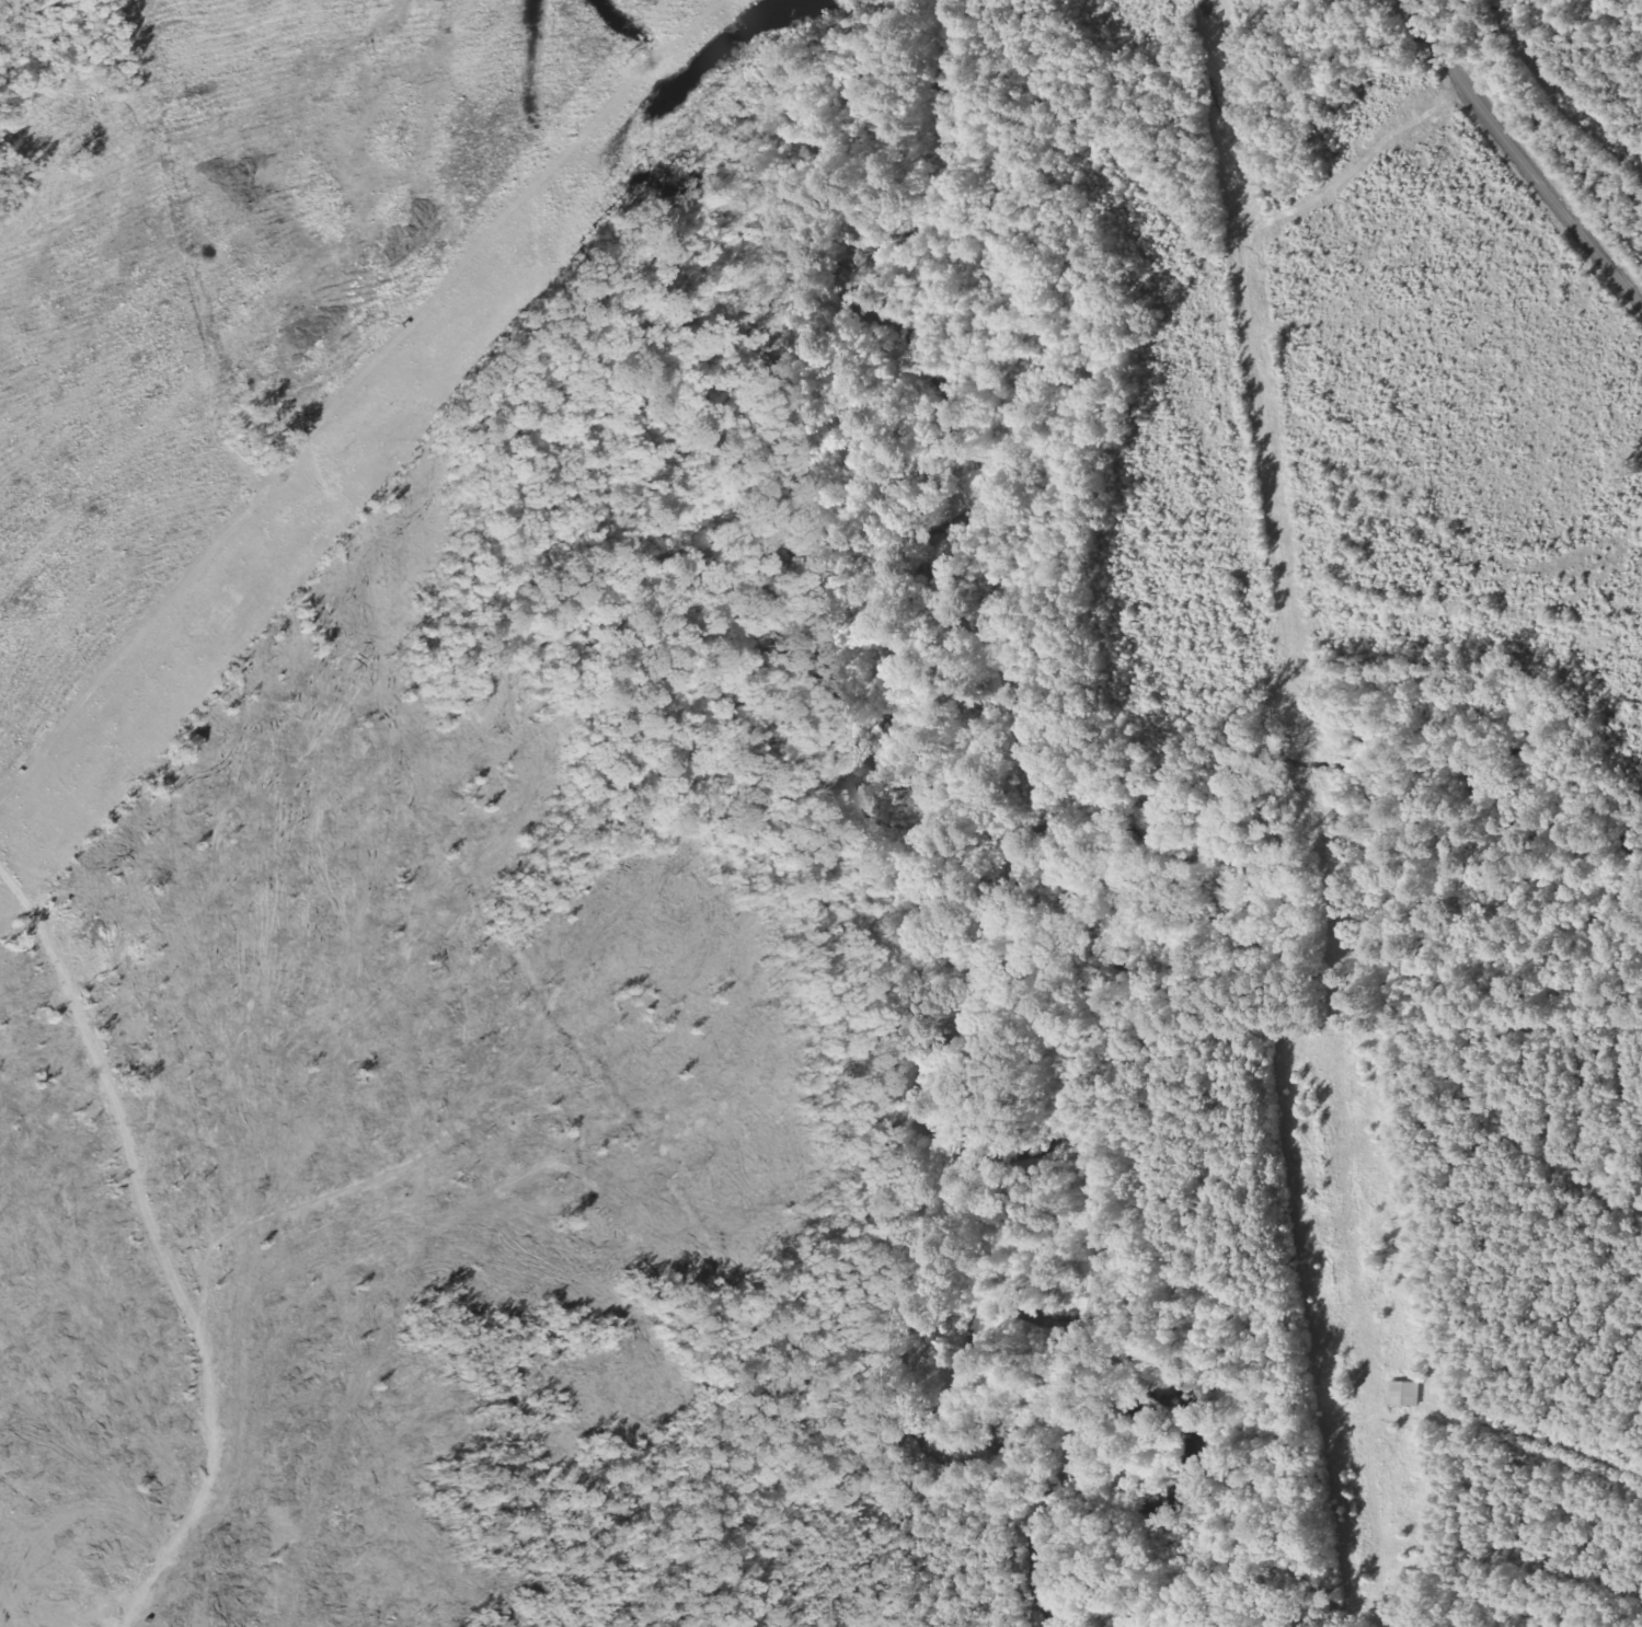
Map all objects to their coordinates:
road: (1504, 172)
building: (1402, 1393)

